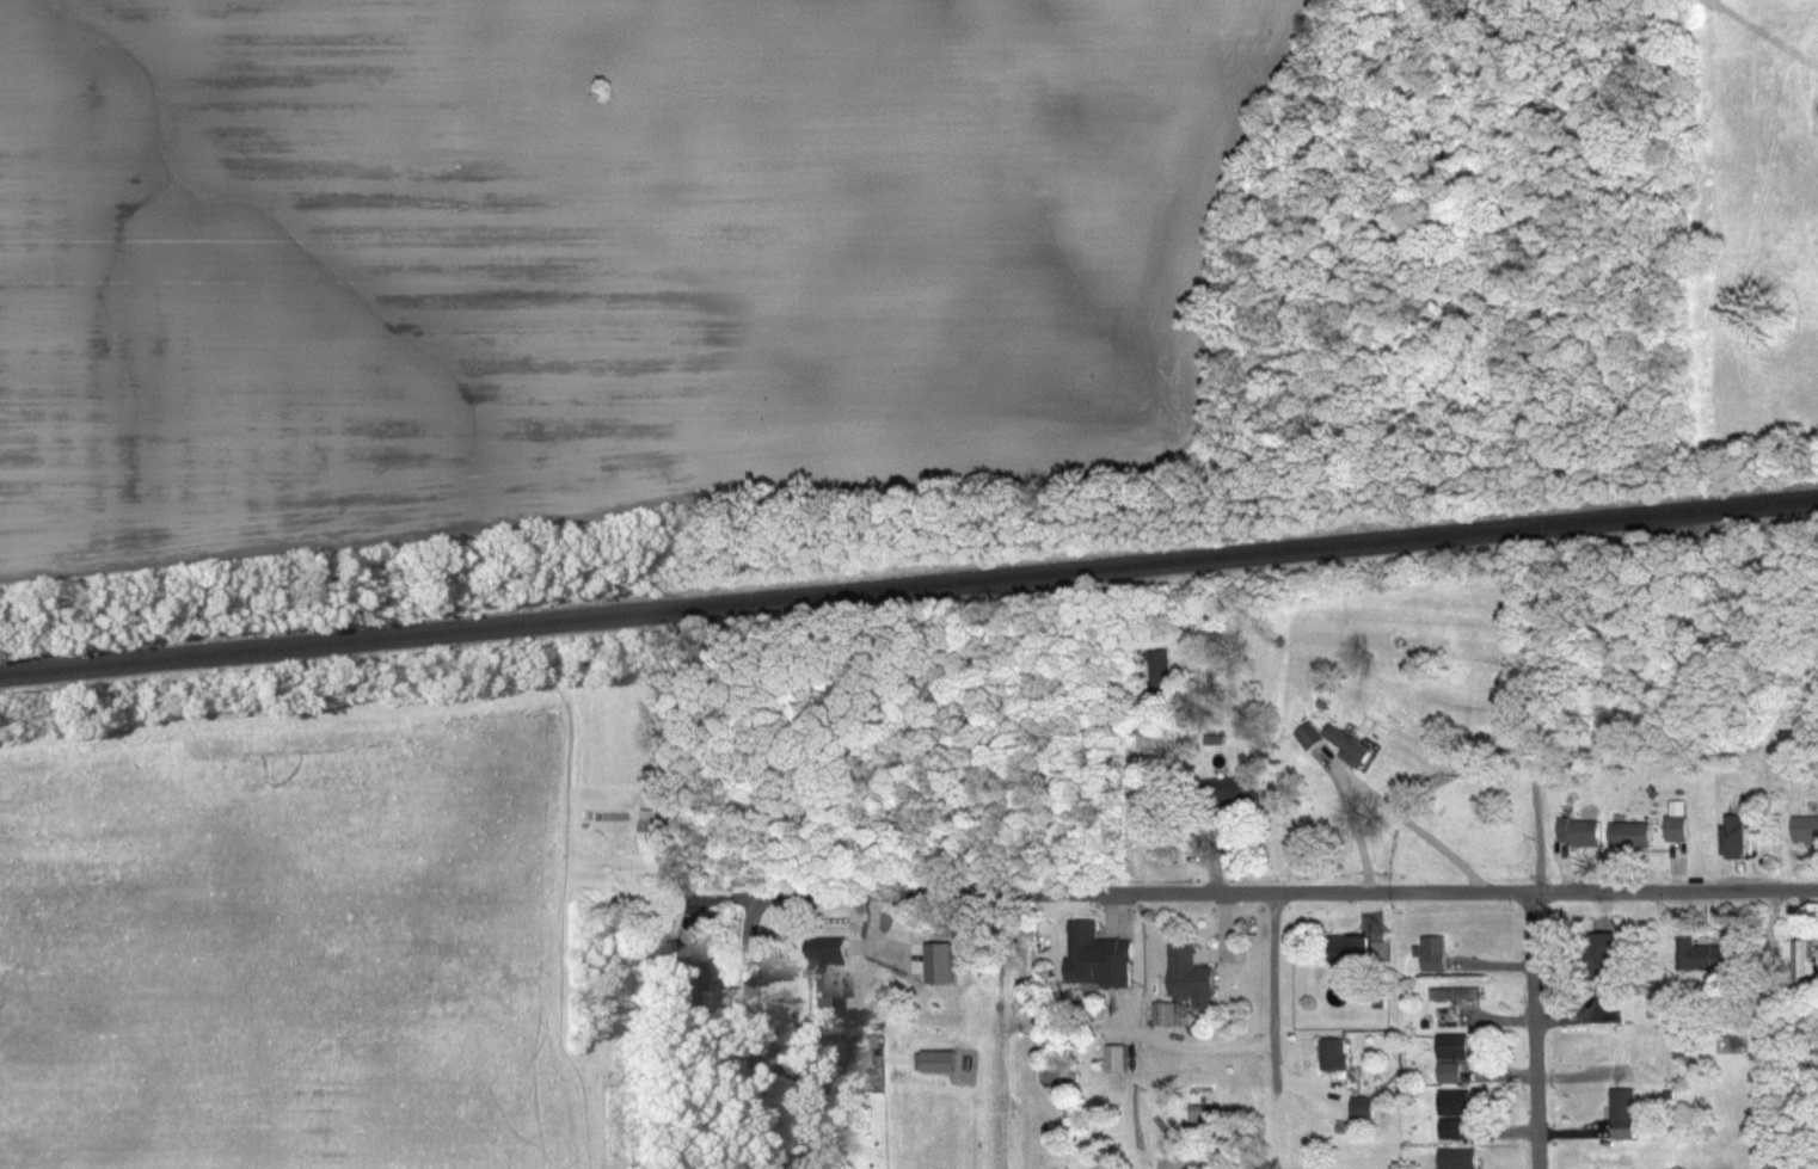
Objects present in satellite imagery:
railway: (909, 587)
building: (1162, 670)
building: (1310, 738)
building: (1351, 749)
building: (1235, 793)
building: (1679, 824)
building: (1806, 831)
building: (1583, 832)
building: (656, 835)
building: (1634, 837)
building: (1737, 839)
road: (1290, 896)
building: (1437, 955)
building: (1605, 955)
building: (1705, 958)
building: (1099, 960)
building: (1802, 962)
building: (1350, 964)
building: (946, 966)
building: (683, 967)
building: (825, 973)
building: (1193, 979)
building: (1460, 997)
road: (1275, 1001)
building: (1171, 1016)
road: (1537, 1030)
road: (1134, 1033)
road: (747, 1034)
building: (1457, 1048)
building: (822, 1053)
building: (1337, 1056)
building: (1118, 1060)
building: (938, 1064)
building: (1452, 1075)
building: (830, 1076)
building: (1458, 1105)
building: (1365, 1109)
building: (1627, 1115)
building: (1203, 1116)
building: (1454, 1131)
building: (1461, 1159)

